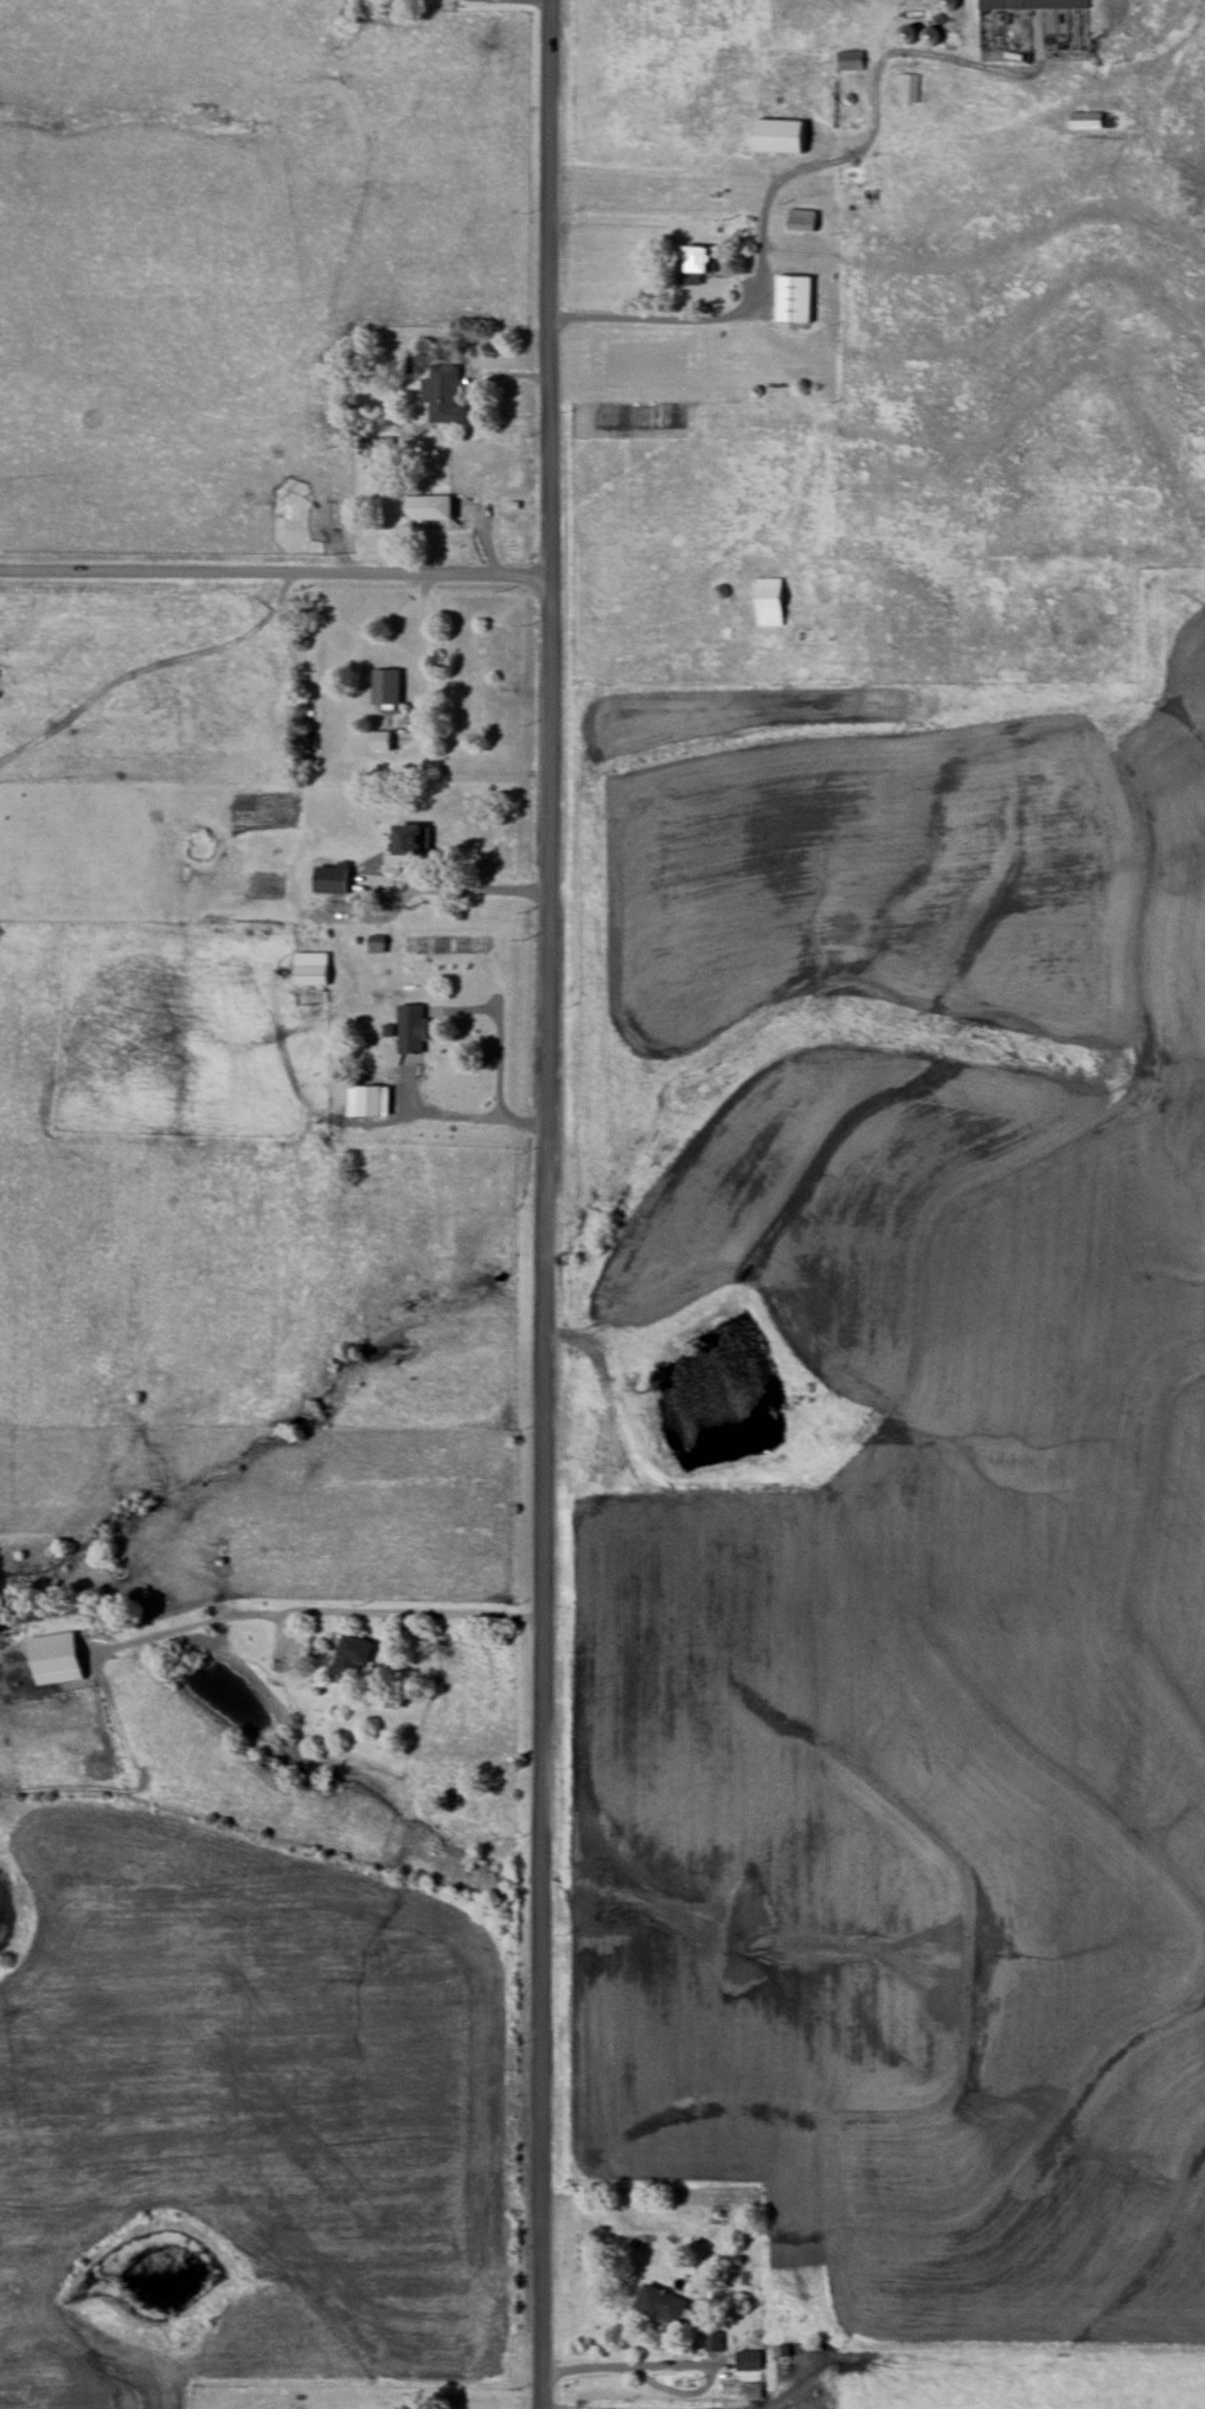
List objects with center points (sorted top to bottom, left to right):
building: (1043, 4)
building: (852, 60)
building: (911, 89)
building: (780, 136)
building: (694, 260)
building: (794, 300)
road: (672, 323)
building: (443, 395)
building: (423, 507)
road: (275, 571)
building: (769, 602)
road: (421, 645)
building: (385, 688)
road: (198, 732)
road: (191, 799)
building: (408, 840)
road: (464, 893)
building: (309, 975)
building: (410, 1030)
road: (499, 1055)
building: (368, 1101)
road: (547, 1204)
road: (386, 1613)
road: (184, 1625)
building: (351, 1659)
crop: (1036, 1703)
crop: (692, 1817)
crop: (254, 2108)
building: (661, 2305)
building: (748, 2362)
road: (589, 2368)
road: (674, 2368)
building: (741, 2389)

